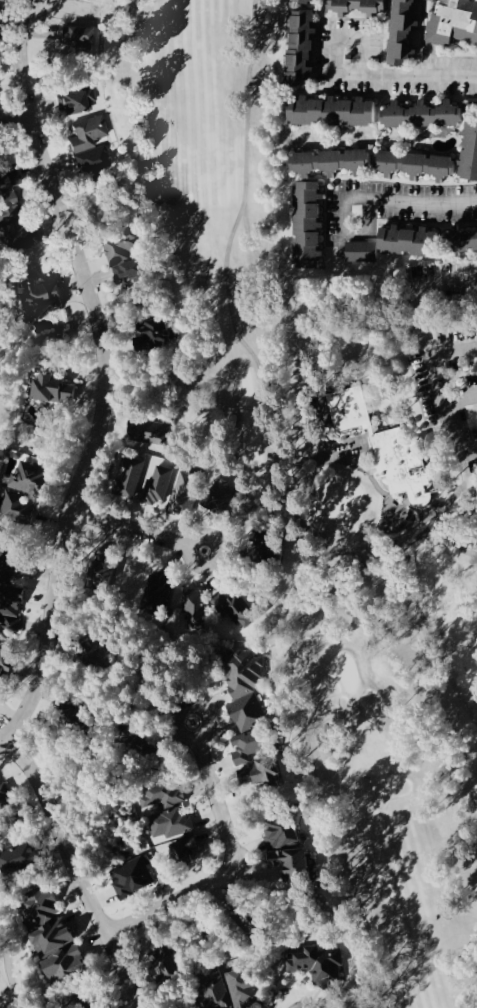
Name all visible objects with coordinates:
building: (310, 1)
building: (359, 6)
building: (454, 22)
building: (405, 32)
building: (87, 36)
road: (331, 42)
building: (304, 47)
road: (418, 81)
building: (77, 100)
building: (335, 109)
building: (427, 113)
building: (89, 132)
building: (93, 158)
building: (333, 159)
building: (435, 159)
road: (424, 205)
building: (13, 213)
building: (309, 223)
road: (342, 233)
building: (469, 238)
building: (394, 243)
building: (128, 255)
road: (419, 294)
building: (40, 297)
building: (159, 333)
road: (428, 363)
park: (10, 366)
road: (105, 376)
building: (57, 387)
road: (464, 399)
building: (150, 430)
road: (459, 432)
building: (389, 446)
building: (32, 476)
building: (131, 477)
park: (331, 481)
building: (156, 485)
building: (186, 492)
building: (16, 504)
road: (148, 533)
building: (273, 545)
building: (16, 564)
building: (118, 572)
building: (161, 588)
building: (195, 607)
building: (238, 608)
building: (12, 611)
building: (5, 662)
building: (247, 687)
building: (0, 695)
building: (253, 744)
building: (263, 770)
building: (165, 794)
building: (6, 796)
building: (172, 822)
building: (285, 832)
building: (185, 847)
building: (20, 856)
building: (297, 862)
road: (233, 869)
road: (76, 872)
building: (134, 877)
building: (49, 921)
building: (170, 958)
building: (69, 961)
building: (318, 963)
park: (19, 964)
building: (234, 989)

